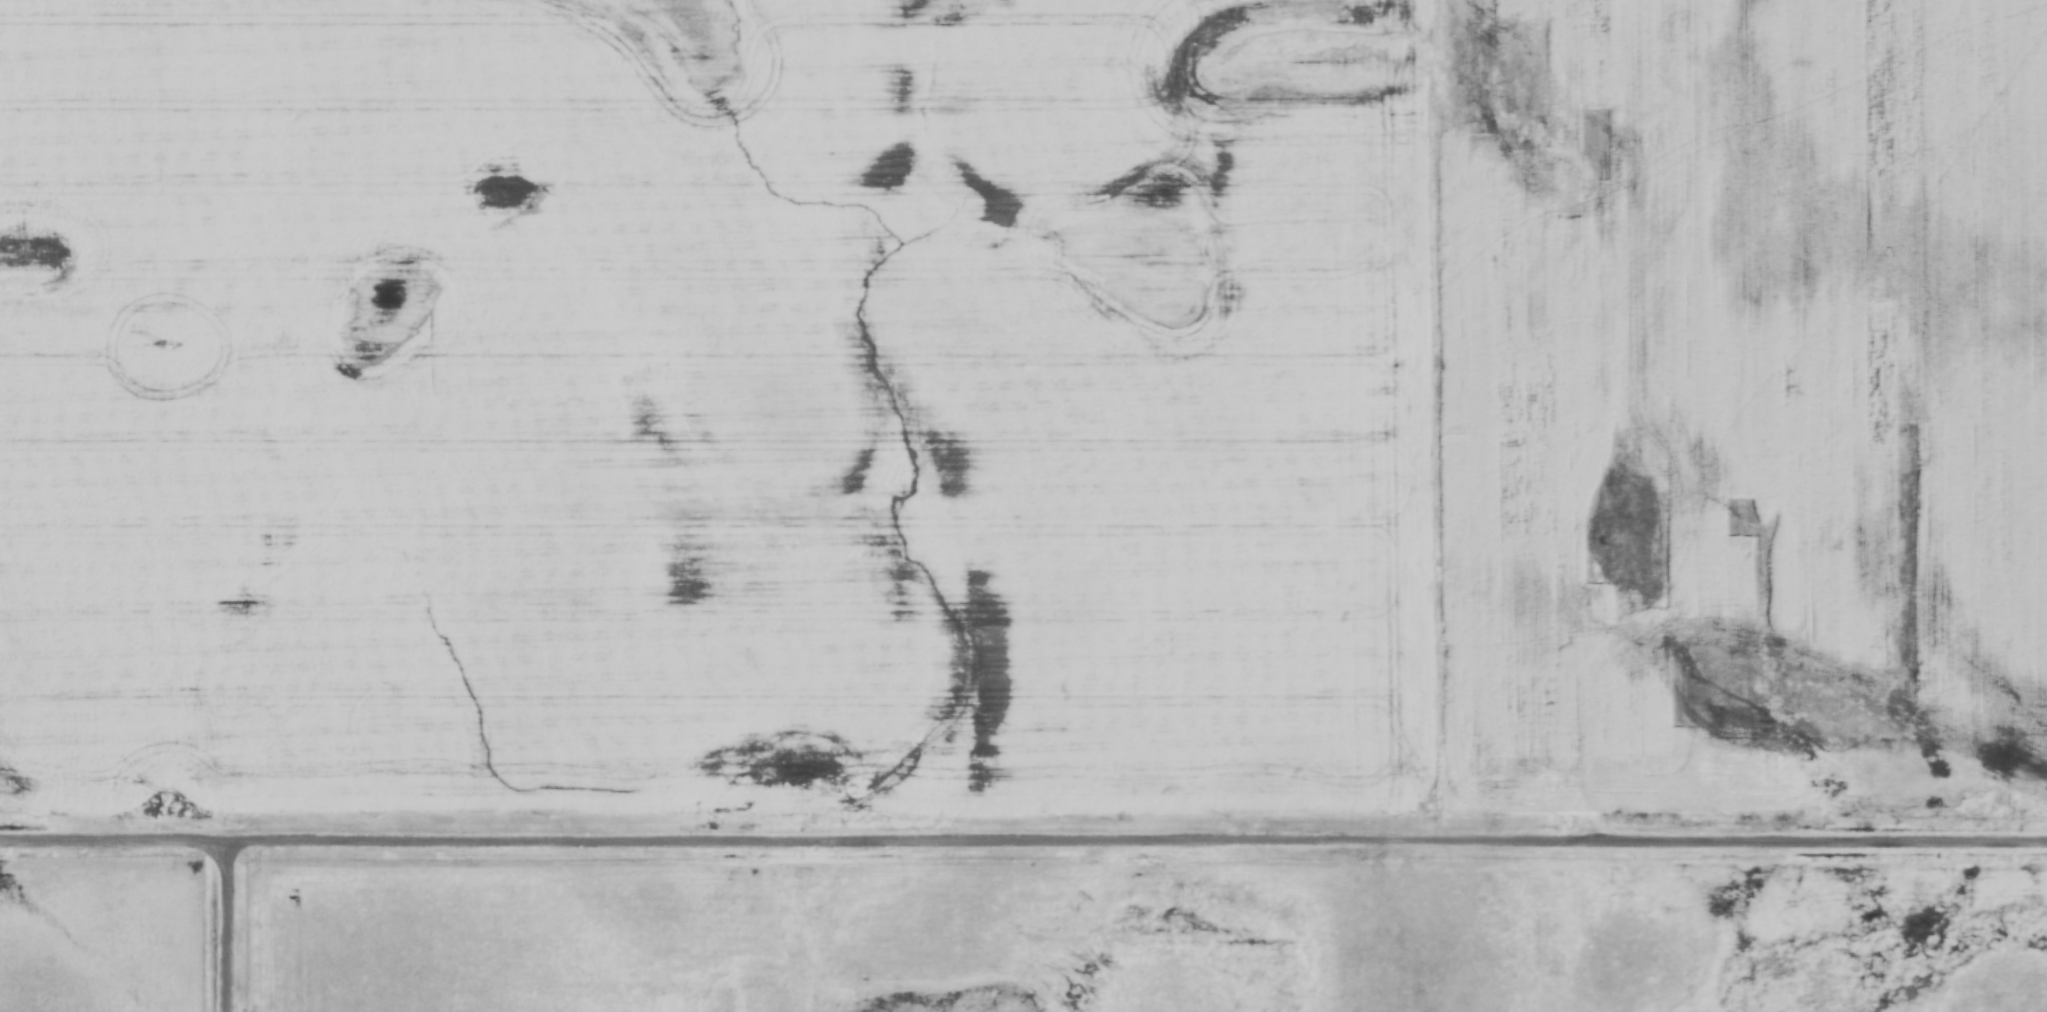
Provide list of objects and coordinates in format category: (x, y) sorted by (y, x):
power tower: (165, 345)
power tower: (165, 793)
road: (1023, 852)
road: (201, 935)

